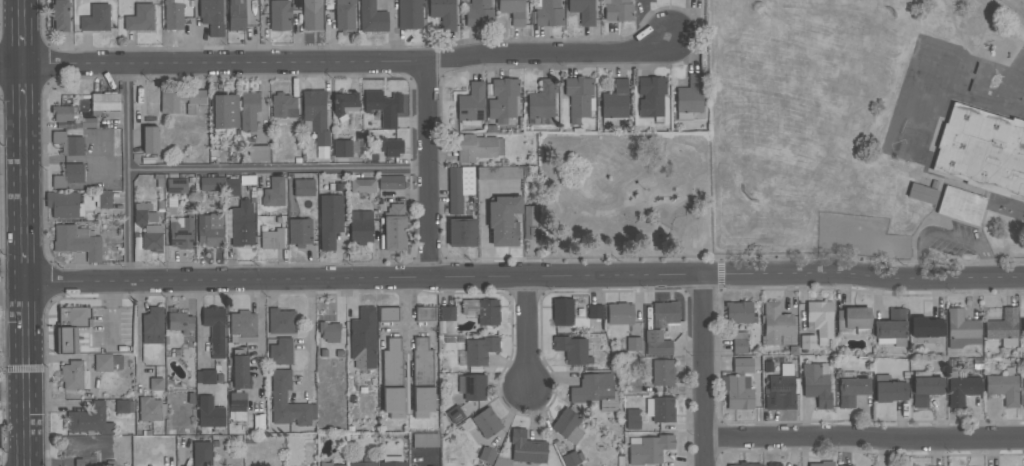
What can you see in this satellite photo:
building: (644, 0)
road: (20, 7)
building: (616, 10)
building: (513, 11)
building: (583, 11)
building: (443, 13)
building: (478, 13)
building: (548, 13)
building: (409, 14)
building: (173, 15)
building: (236, 15)
building: (312, 15)
building: (345, 15)
building: (59, 16)
building: (211, 16)
building: (279, 16)
building: (140, 18)
building: (372, 18)
building: (96, 19)
road: (21, 41)
road: (338, 63)
building: (651, 97)
building: (578, 98)
building: (690, 98)
building: (180, 100)
building: (502, 100)
building: (615, 101)
building: (104, 103)
building: (471, 103)
building: (345, 104)
building: (541, 105)
building: (284, 106)
building: (384, 107)
building: (249, 111)
building: (225, 112)
building: (316, 114)
building: (69, 118)
building: (150, 140)
road: (584, 142)
building: (68, 144)
building: (390, 147)
building: (478, 148)
building: (342, 149)
road: (663, 150)
road: (21, 152)
building: (981, 152)
building: (258, 153)
road: (680, 162)
road: (427, 170)
road: (279, 172)
road: (130, 175)
building: (70, 176)
building: (391, 182)
building: (177, 184)
building: (212, 184)
road: (673, 185)
building: (363, 186)
building: (232, 187)
building: (303, 187)
building: (459, 187)
road: (648, 191)
building: (274, 193)
building: (922, 194)
park: (619, 197)
building: (104, 200)
building: (62, 205)
building: (961, 206)
road: (660, 207)
building: (144, 214)
road: (657, 217)
road: (687, 218)
building: (330, 220)
building: (503, 222)
building: (530, 223)
building: (242, 225)
building: (361, 227)
building: (394, 227)
building: (210, 230)
building: (300, 232)
building: (461, 232)
building: (180, 233)
road: (948, 237)
building: (152, 238)
building: (271, 239)
building: (76, 242)
road: (22, 261)
road: (11, 266)
road: (523, 277)
road: (11, 293)
building: (482, 311)
road: (111, 312)
building: (562, 312)
building: (595, 312)
road: (407, 313)
building: (739, 313)
building: (425, 314)
building: (447, 314)
building: (620, 314)
building: (388, 315)
building: (74, 317)
building: (821, 318)
building: (853, 319)
building: (281, 321)
building: (180, 322)
road: (198, 322)
building: (775, 324)
building: (153, 326)
building: (1002, 326)
building: (242, 327)
building: (926, 327)
building: (1023, 328)
building: (662, 329)
building: (962, 329)
road: (138, 330)
building: (215, 330)
building: (891, 330)
building: (329, 334)
road: (527, 334)
road: (309, 338)
building: (66, 340)
building: (363, 340)
building: (807, 342)
building: (739, 343)
road: (260, 345)
building: (573, 350)
building: (281, 352)
building: (477, 352)
building: (103, 363)
building: (422, 363)
building: (742, 366)
road: (705, 371)
building: (240, 372)
building: (662, 372)
road: (24, 376)
building: (74, 376)
building: (205, 377)
building: (393, 380)
building: (1023, 380)
building: (156, 384)
building: (817, 384)
building: (472, 388)
building: (961, 388)
building: (1003, 389)
building: (781, 390)
building: (889, 390)
building: (925, 390)
building: (595, 391)
building: (851, 391)
road: (12, 392)
building: (737, 392)
building: (279, 398)
building: (423, 400)
building: (125, 407)
building: (150, 409)
building: (660, 409)
building: (210, 413)
building: (455, 415)
building: (632, 419)
building: (89, 421)
building: (486, 423)
building: (567, 426)
building: (425, 440)
road: (864, 442)
building: (526, 448)
building: (649, 449)
building: (202, 454)
building: (570, 459)
building: (391, 462)
building: (362, 464)
building: (744, 464)
building: (774, 464)
building: (821, 464)
building: (332, 465)

